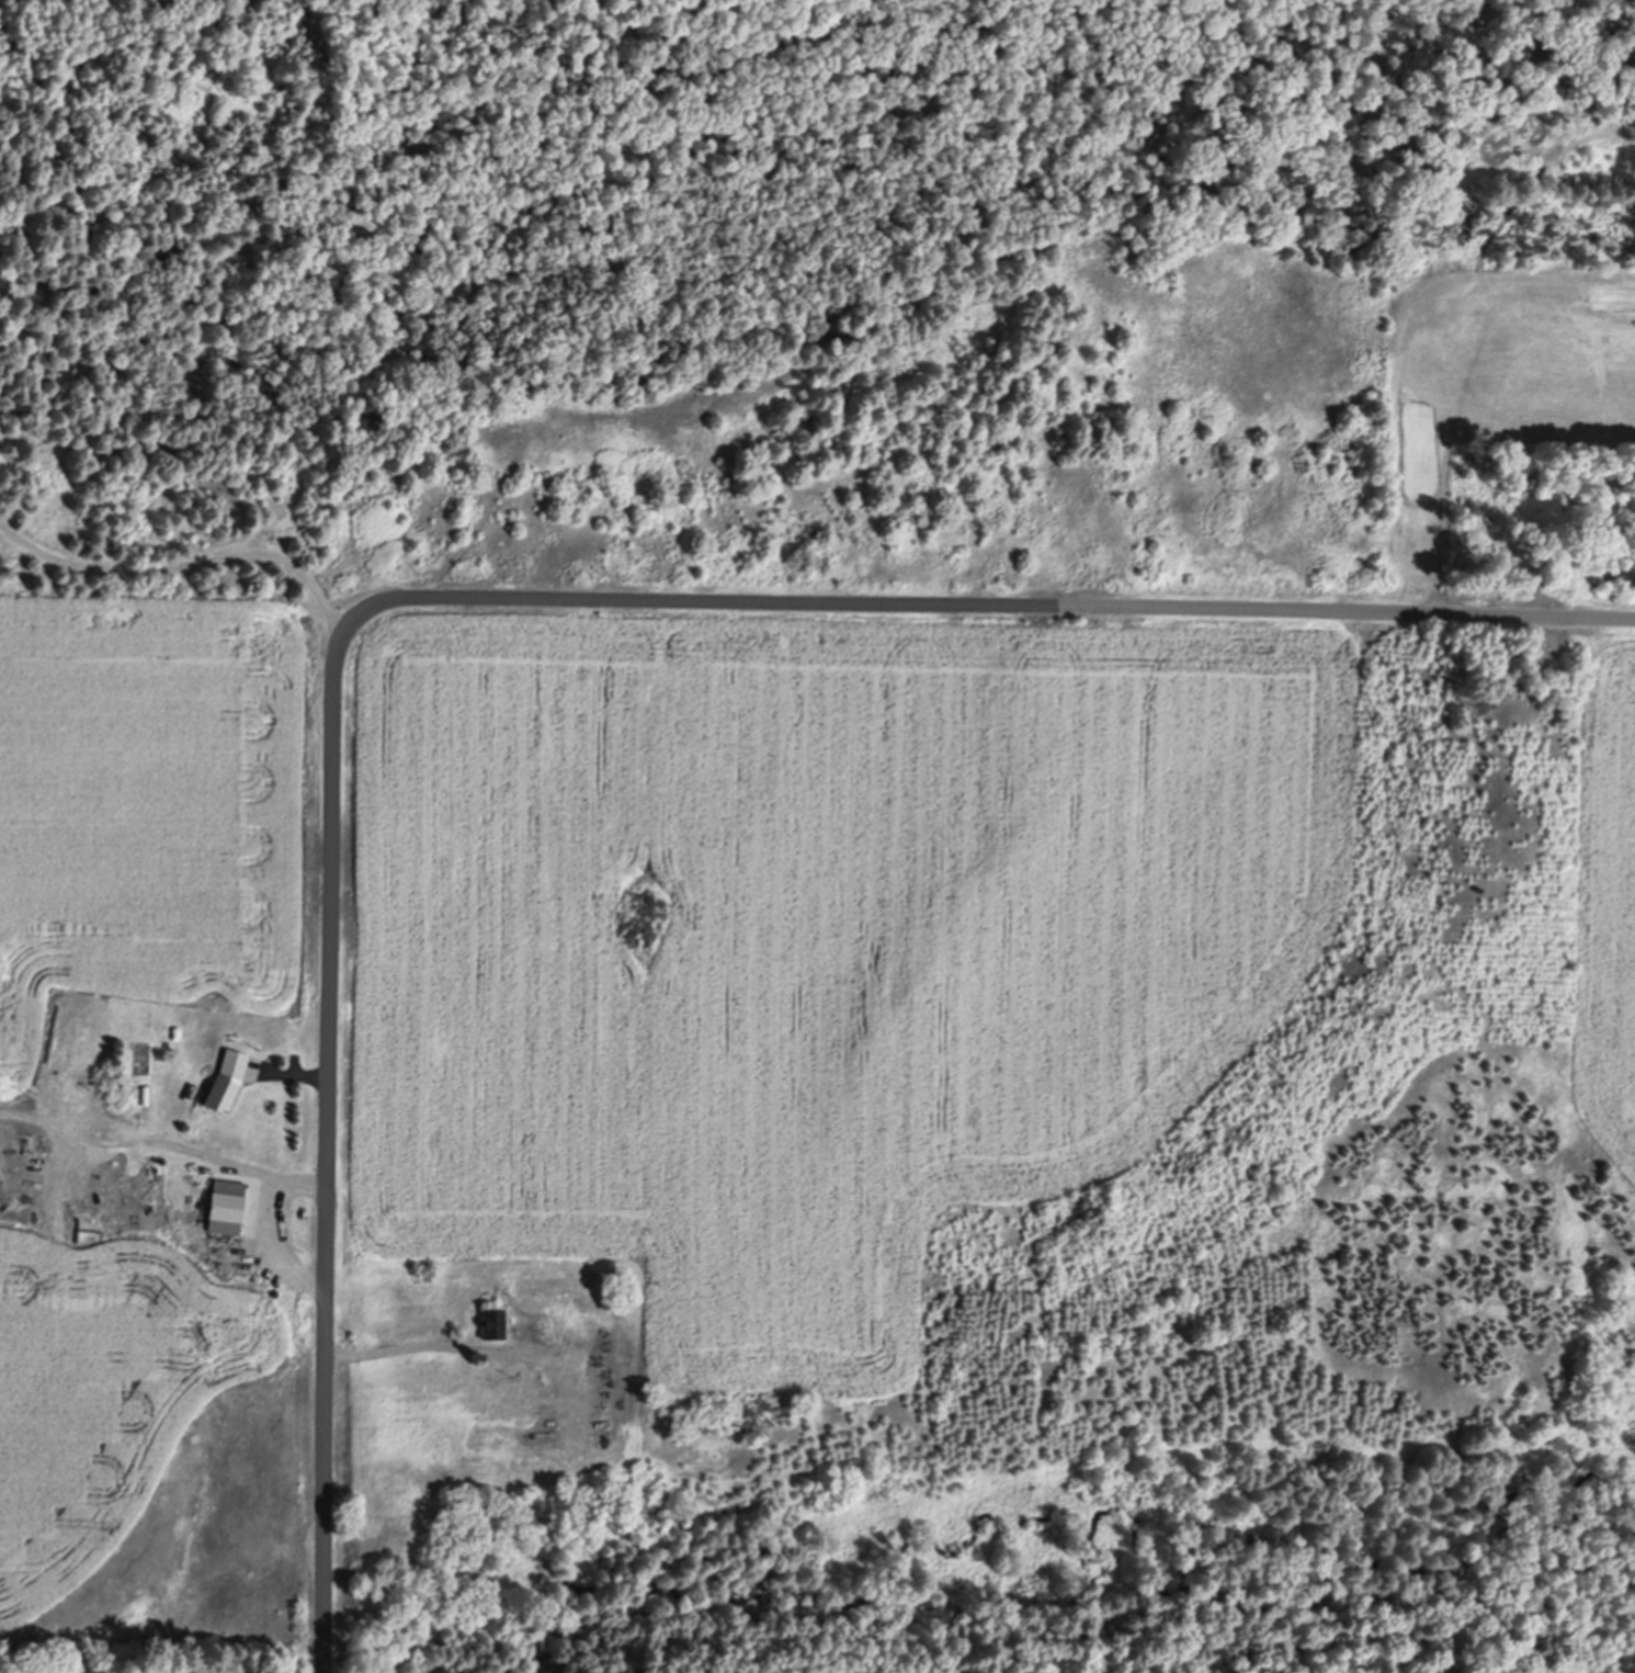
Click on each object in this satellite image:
road: (181, 567)
road: (980, 604)
building: (227, 1077)
building: (185, 1097)
road: (327, 1151)
building: (226, 1202)
building: (537, 1288)
building: (496, 1321)
building: (576, 1360)
building: (600, 1413)
building: (519, 1466)

